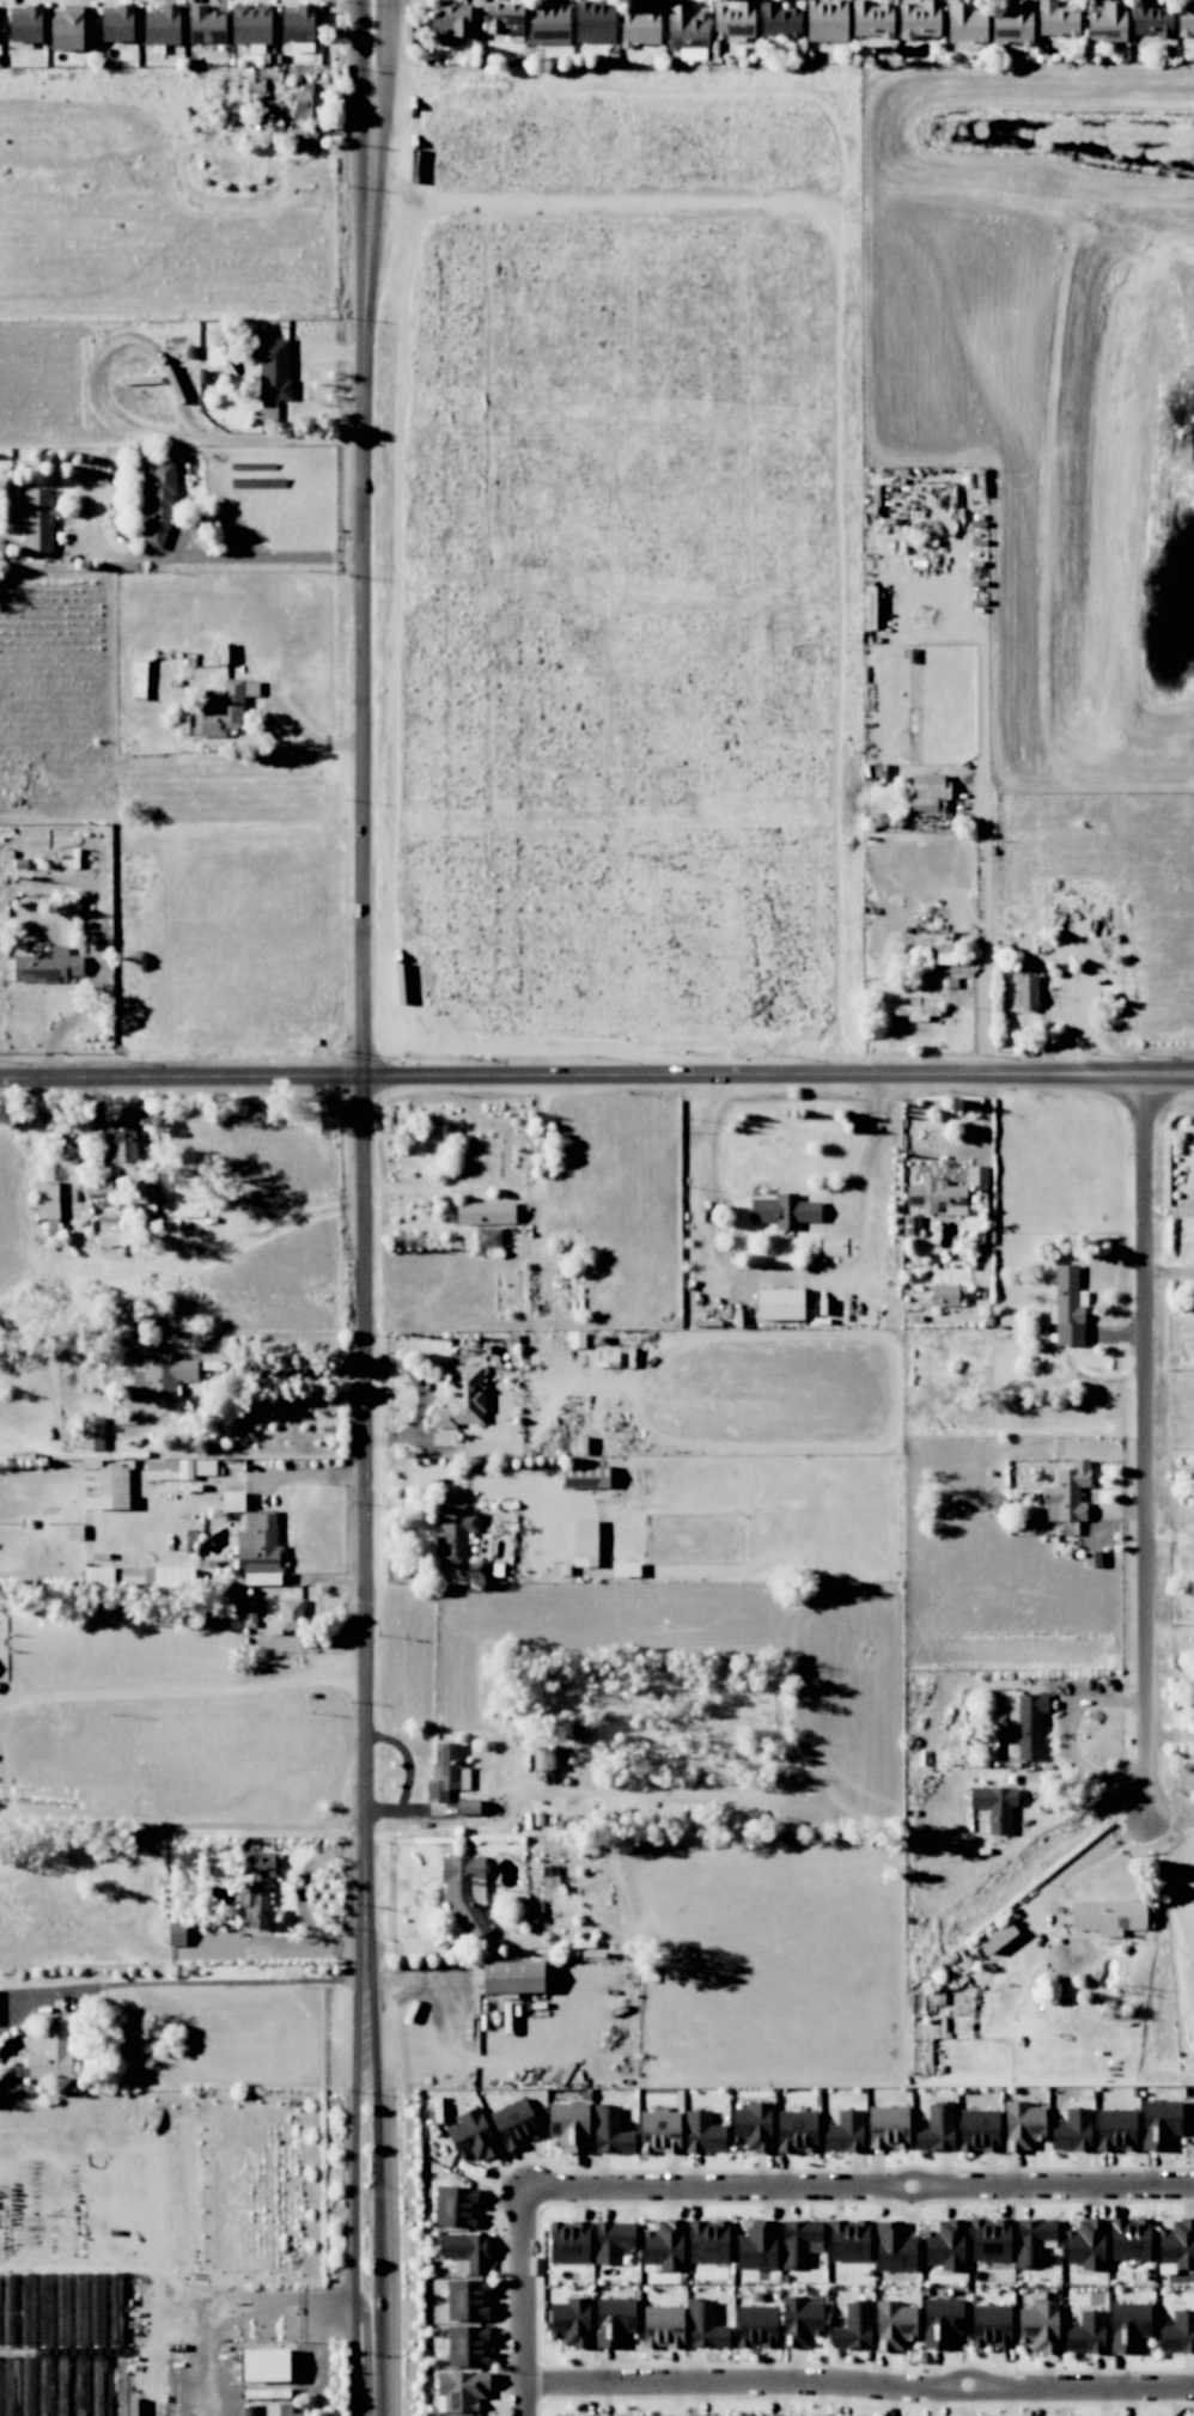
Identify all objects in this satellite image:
building: (504, 18)
building: (1151, 18)
building: (778, 19)
building: (871, 19)
building: (919, 19)
building: (1056, 19)
building: (1186, 19)
building: (826, 20)
building: (593, 22)
building: (733, 22)
building: (1107, 22)
building: (548, 23)
building: (1013, 23)
building: (250, 24)
building: (297, 24)
building: (447, 24)
building: (24, 25)
building: (116, 25)
building: (159, 25)
building: (205, 25)
building: (640, 25)
building: (965, 25)
building: (686, 30)
building: (65, 31)
building: (304, 104)
road: (361, 116)
road: (380, 116)
building: (270, 127)
building: (272, 366)
building: (157, 500)
building: (37, 519)
road: (188, 555)
road: (347, 555)
building: (220, 711)
road: (309, 731)
building: (927, 793)
road: (985, 817)
building: (47, 966)
building: (1025, 991)
building: (915, 1011)
road: (597, 1073)
road: (365, 1108)
road: (985, 1112)
building: (130, 1162)
building: (976, 1175)
building: (937, 1197)
building: (187, 1199)
building: (45, 1201)
building: (782, 1210)
building: (485, 1212)
building: (112, 1237)
building: (487, 1237)
road: (776, 1277)
building: (946, 1295)
building: (779, 1303)
building: (1068, 1307)
building: (601, 1358)
road: (294, 1370)
building: (160, 1375)
building: (461, 1398)
road: (1152, 1442)
building: (177, 1468)
road: (1172, 1468)
building: (585, 1475)
building: (109, 1489)
building: (1067, 1492)
building: (453, 1533)
road: (1172, 1535)
building: (258, 1542)
building: (584, 1542)
building: (625, 1569)
building: (286, 1617)
road: (183, 1692)
road: (1065, 1712)
building: (1027, 1724)
building: (445, 1771)
road: (1091, 1785)
building: (994, 1806)
road: (182, 1830)
road: (1091, 1856)
building: (257, 1886)
building: (463, 1892)
building: (1109, 1916)
building: (175, 1933)
building: (997, 1937)
building: (511, 1977)
road: (217, 1984)
road: (365, 2006)
building: (51, 2051)
building: (514, 2123)
building: (1159, 2123)
building: (568, 2125)
building: (1022, 2125)
building: (751, 2126)
building: (888, 2126)
building: (936, 2129)
building: (609, 2130)
building: (843, 2130)
building: (977, 2130)
building: (1115, 2130)
building: (658, 2131)
building: (796, 2131)
building: (1072, 2131)
building: (702, 2132)
building: (471, 2136)
road: (858, 2186)
building: (455, 2207)
road: (355, 2221)
road: (378, 2221)
building: (989, 2239)
building: (1032, 2239)
building: (1128, 2239)
building: (611, 2240)
building: (707, 2240)
building: (848, 2240)
building: (567, 2241)
building: (799, 2241)
building: (1085, 2244)
building: (756, 2245)
building: (944, 2245)
building: (1176, 2245)
building: (663, 2246)
building: (894, 2246)
building: (465, 2252)
building: (467, 2300)
road: (523, 2301)
road: (240, 2318)
building: (613, 2320)
building: (799, 2320)
building: (571, 2321)
building: (940, 2321)
building: (705, 2325)
building: (893, 2325)
building: (989, 2325)
building: (662, 2326)
building: (756, 2326)
building: (1128, 2326)
building: (853, 2327)
building: (1038, 2327)
building: (1177, 2331)
building: (1085, 2333)
road: (370, 2336)
building: (467, 2345)
building: (264, 2365)
road: (858, 2380)
building: (459, 2391)
building: (278, 2409)
building: (580, 2415)
building: (623, 2415)
building: (663, 2415)
building: (762, 2415)
building: (818, 2415)

